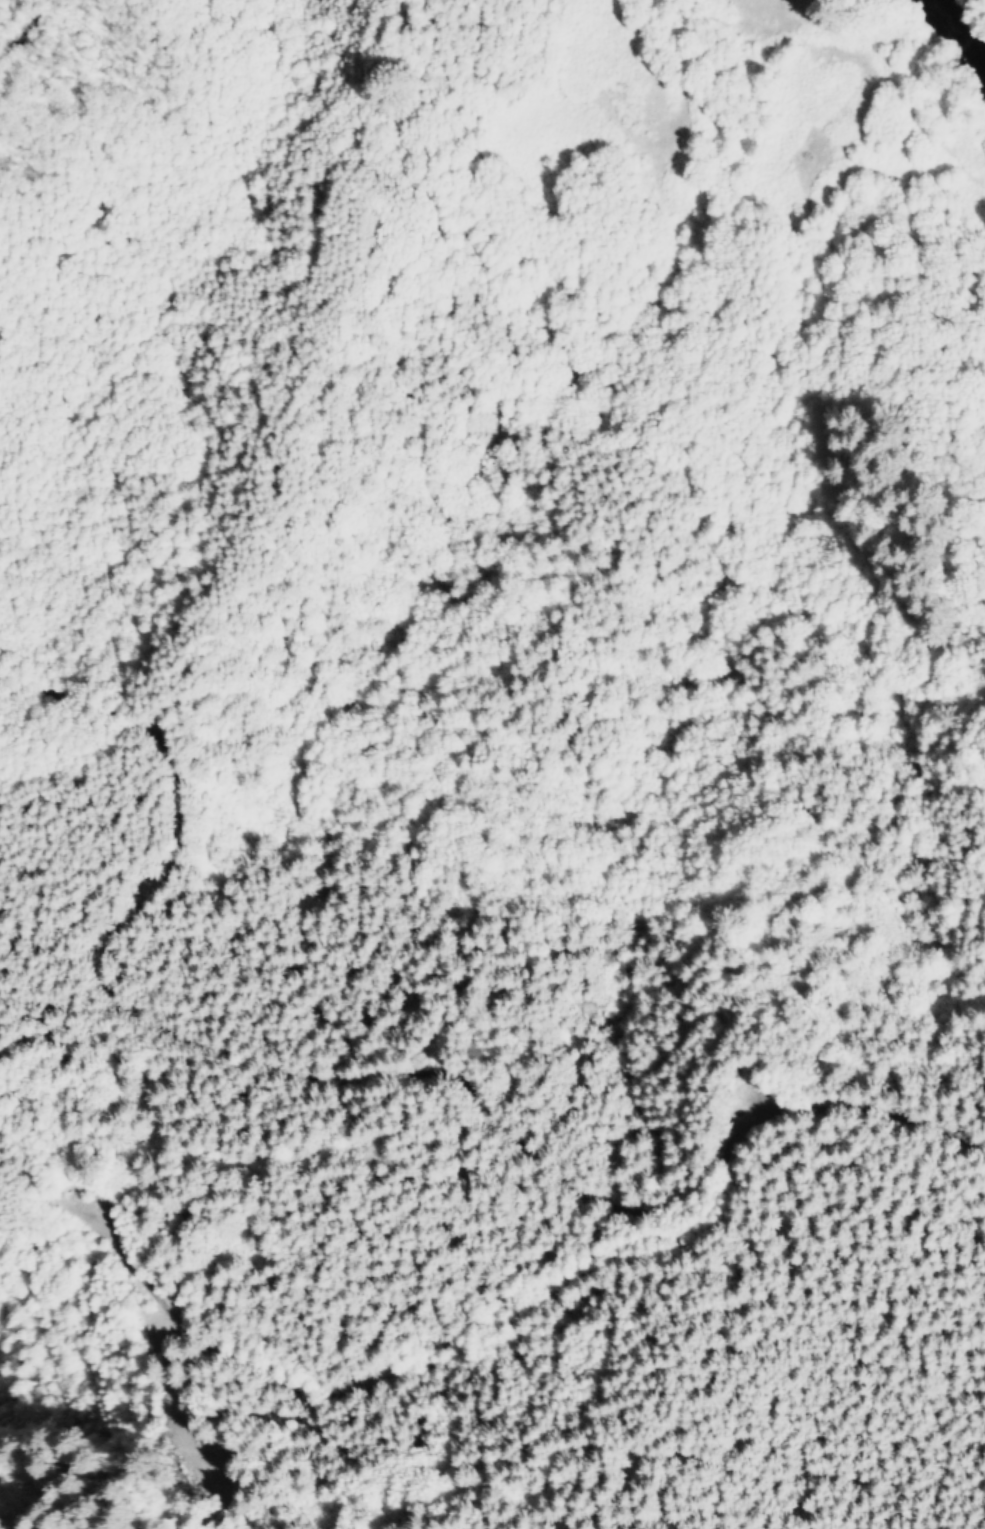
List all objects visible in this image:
road: (25, 30)
river: (957, 34)
road: (367, 1079)

